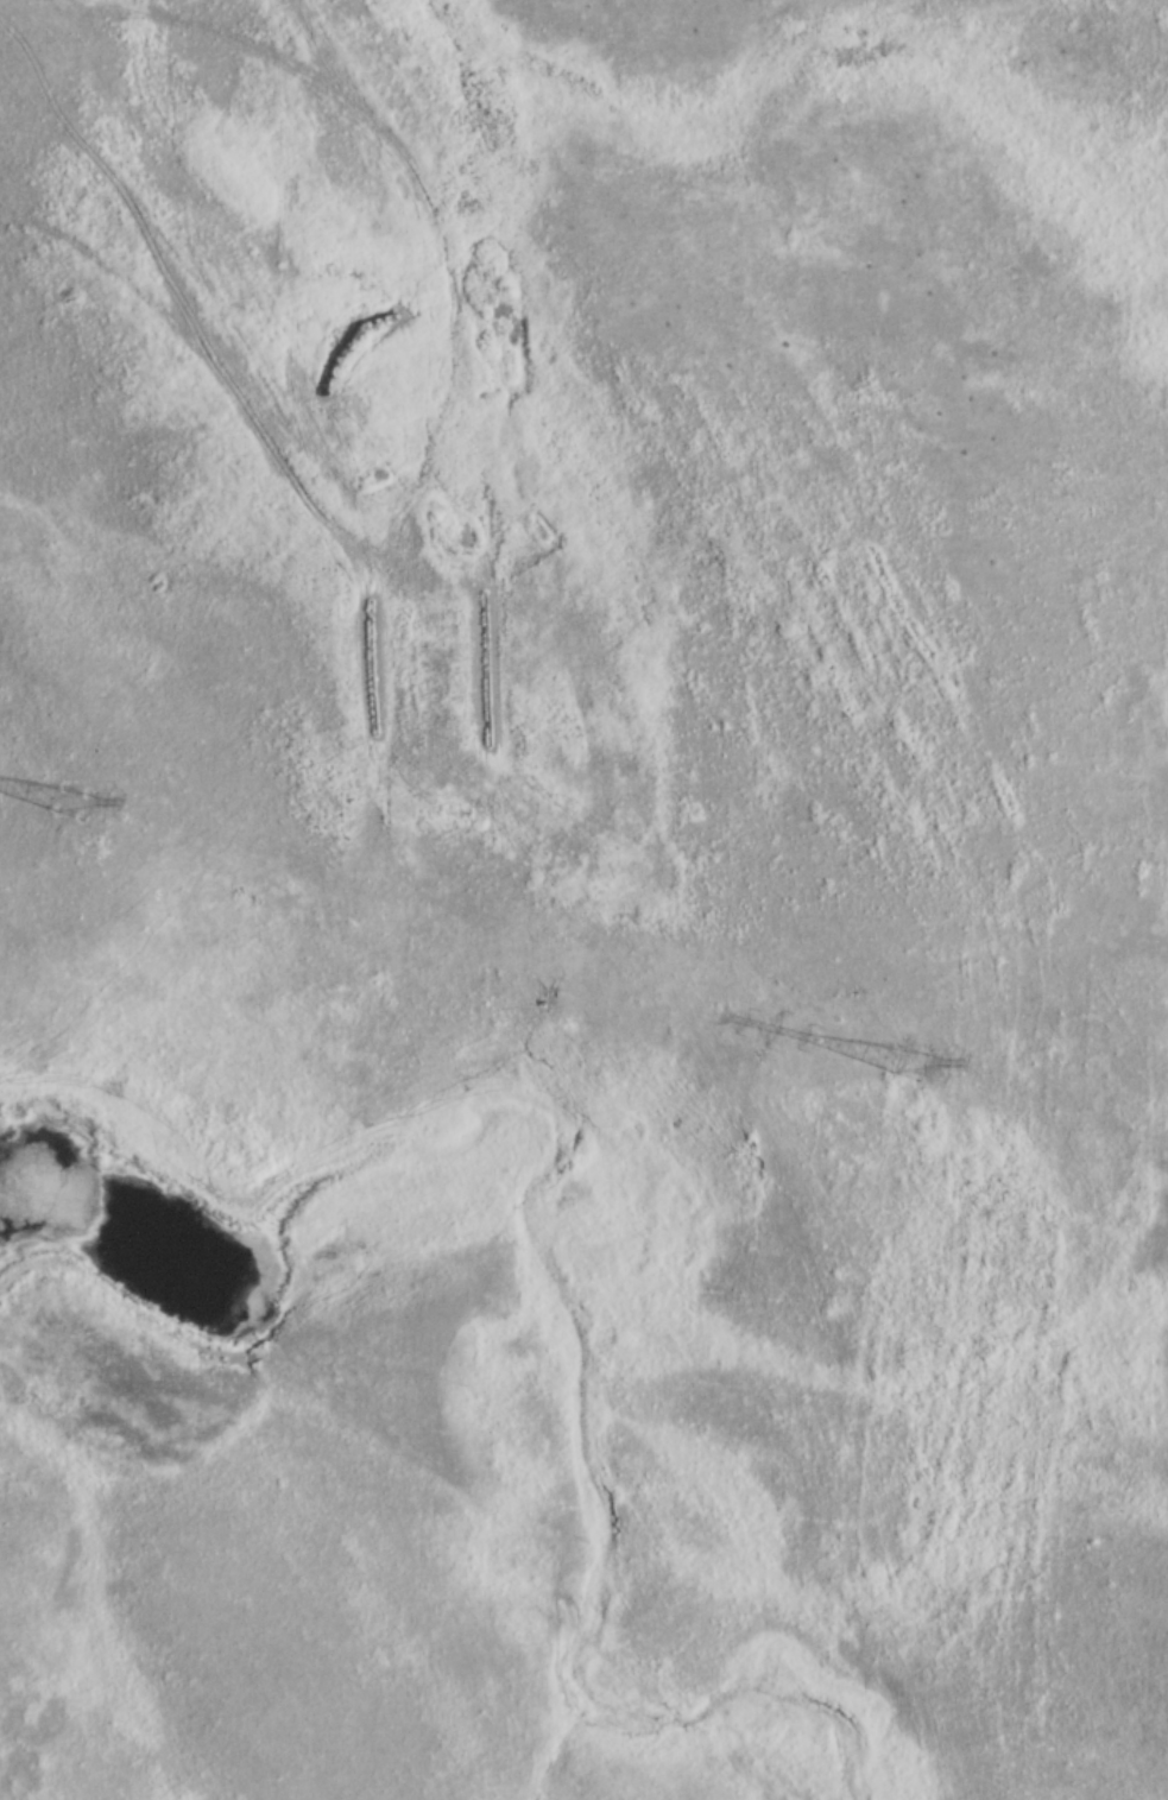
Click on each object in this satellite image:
power tower: (69, 803)
power tower: (908, 1061)

